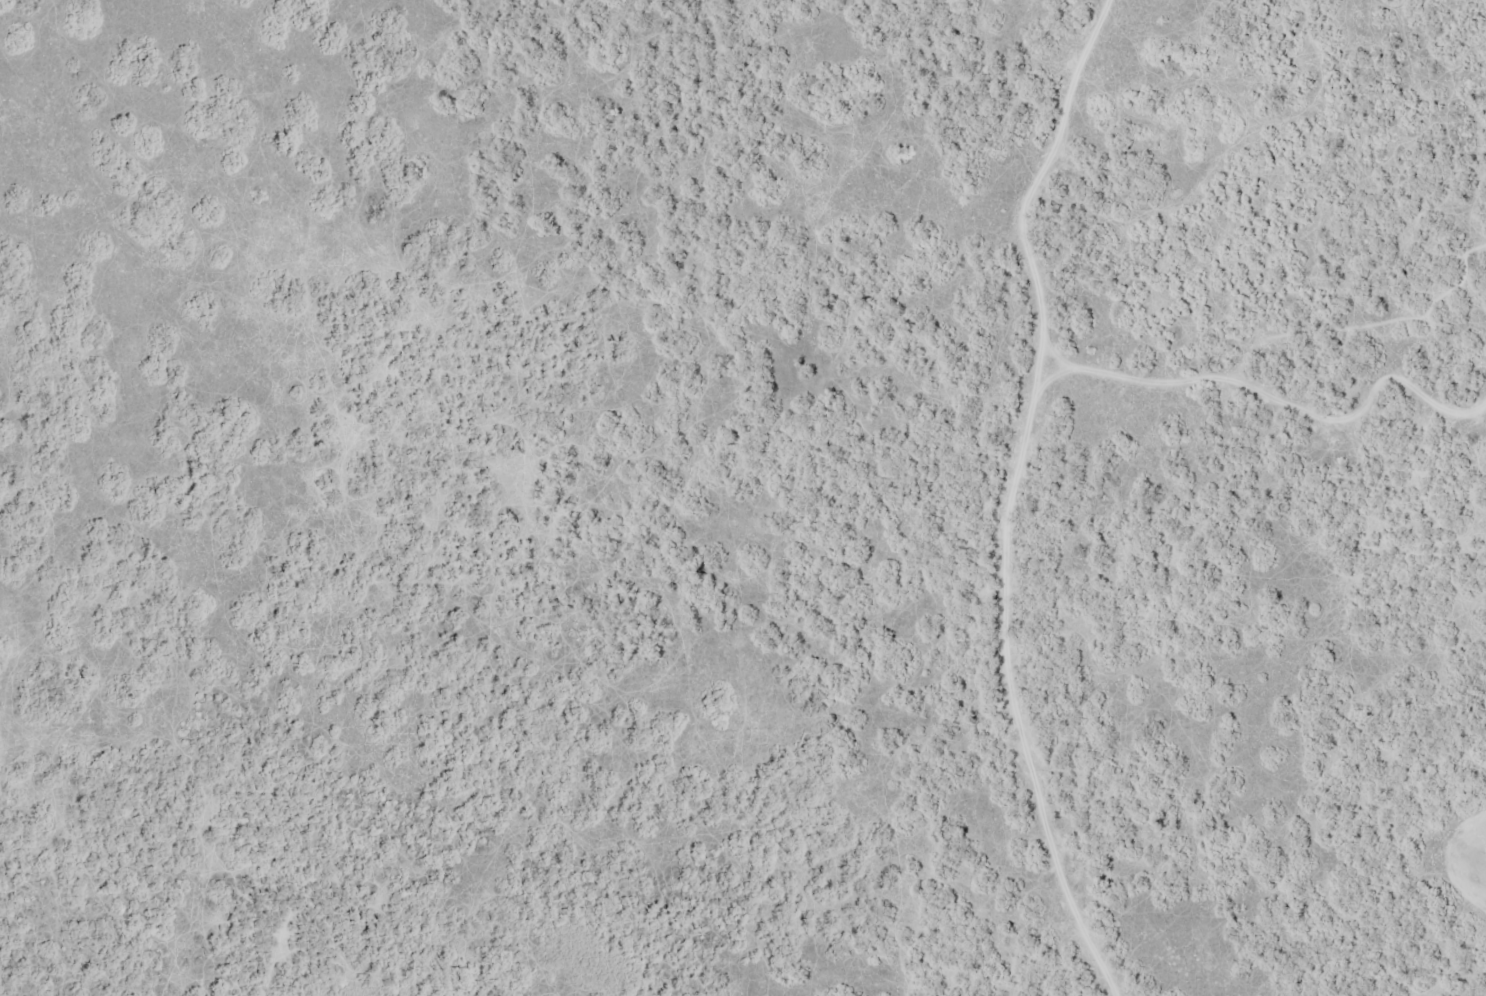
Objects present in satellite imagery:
road: (1050, 491)

